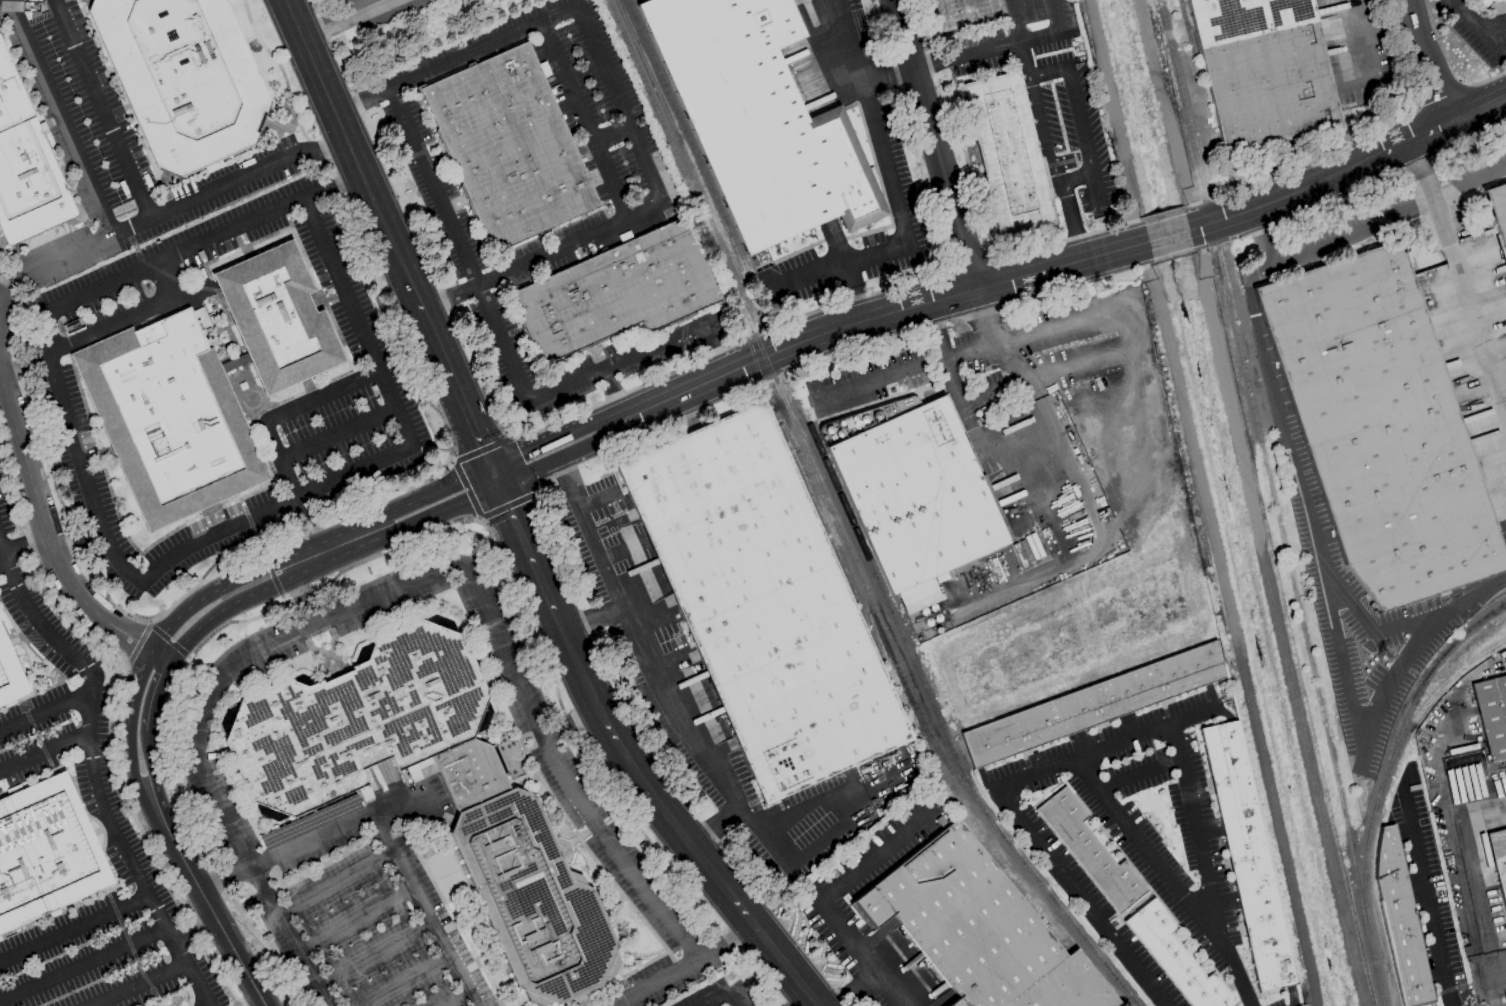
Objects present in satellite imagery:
road: (2, 1)
building: (1483, 2)
building: (1088, 6)
building: (968, 16)
road: (1057, 17)
road: (350, 20)
road: (1476, 27)
railway: (1187, 35)
road: (1020, 37)
road: (1000, 46)
road: (1363, 50)
road: (457, 58)
road: (928, 64)
road: (1427, 64)
building: (1263, 70)
road: (1048, 71)
road: (890, 76)
building: (189, 77)
road: (619, 103)
road: (102, 109)
road: (1163, 116)
road: (60, 118)
building: (757, 118)
road: (581, 120)
road: (1114, 121)
railway: (1189, 128)
road: (1043, 129)
road: (609, 134)
railway: (687, 137)
road: (1084, 139)
road: (937, 143)
building: (515, 148)
road: (354, 149)
road: (882, 152)
building: (1008, 156)
building: (28, 158)
road: (1348, 170)
road: (1075, 179)
road: (174, 207)
building: (1497, 212)
road: (1069, 221)
road: (1380, 222)
road: (1167, 236)
road: (202, 241)
road: (568, 245)
road: (456, 246)
road: (845, 269)
road: (1459, 272)
road: (804, 276)
road: (167, 279)
power tower: (1097, 282)
building: (624, 295)
flagpole: (324, 296)
road: (450, 298)
road: (879, 314)
building: (277, 318)
road: (1135, 318)
road: (357, 319)
road: (111, 326)
road: (1262, 346)
road: (714, 348)
road: (616, 362)
road: (904, 371)
road: (455, 383)
road: (996, 394)
road: (323, 395)
road: (613, 395)
road: (967, 414)
building: (175, 417)
building: (1379, 427)
road: (339, 433)
road: (555, 437)
road: (74, 454)
road: (563, 456)
railway: (791, 456)
traffic signals: (489, 467)
road: (493, 476)
road: (565, 477)
road: (1110, 480)
road: (290, 483)
road: (1080, 485)
traffic signals: (498, 486)
building: (917, 494)
road: (598, 497)
road: (402, 505)
road: (273, 506)
railway: (837, 523)
road: (411, 524)
road: (50, 543)
road: (23, 547)
road: (525, 548)
road: (621, 551)
road: (225, 587)
road: (1487, 588)
road: (238, 600)
building: (760, 601)
railway: (1297, 606)
road: (591, 617)
road: (34, 621)
road: (1368, 626)
railway: (900, 633)
power tower: (1382, 652)
building: (9, 678)
road: (1347, 681)
road: (136, 687)
road: (662, 690)
road: (151, 694)
building: (1093, 703)
railway: (1418, 709)
road: (41, 710)
building: (1492, 715)
road: (202, 725)
road: (43, 754)
road: (130, 757)
road: (149, 757)
railway: (1387, 758)
road: (560, 768)
road: (1138, 774)
road: (1479, 789)
building: (364, 793)
road: (831, 801)
building: (499, 807)
road: (669, 818)
building: (311, 821)
road: (712, 825)
road: (336, 826)
road: (1021, 829)
road: (1199, 845)
road: (125, 851)
building: (1089, 851)
road: (1145, 851)
building: (46, 854)
building: (1247, 856)
building: (1499, 860)
road: (1466, 863)
road: (1130, 866)
road: (226, 876)
road: (336, 883)
road: (1427, 895)
road: (204, 896)
road: (826, 897)
road: (1135, 906)
road: (422, 908)
road: (354, 917)
road: (1117, 918)
building: (1400, 921)
road: (73, 926)
building: (986, 928)
road: (738, 933)
road: (375, 956)
building: (1175, 958)
road: (83, 965)
road: (671, 974)
road: (405, 981)
railway: (1376, 981)
road: (139, 982)
road: (853, 989)
road: (1291, 996)
road: (205, 999)
road: (455, 999)
road: (718, 999)
road: (735, 999)
railway: (1132, 1000)

